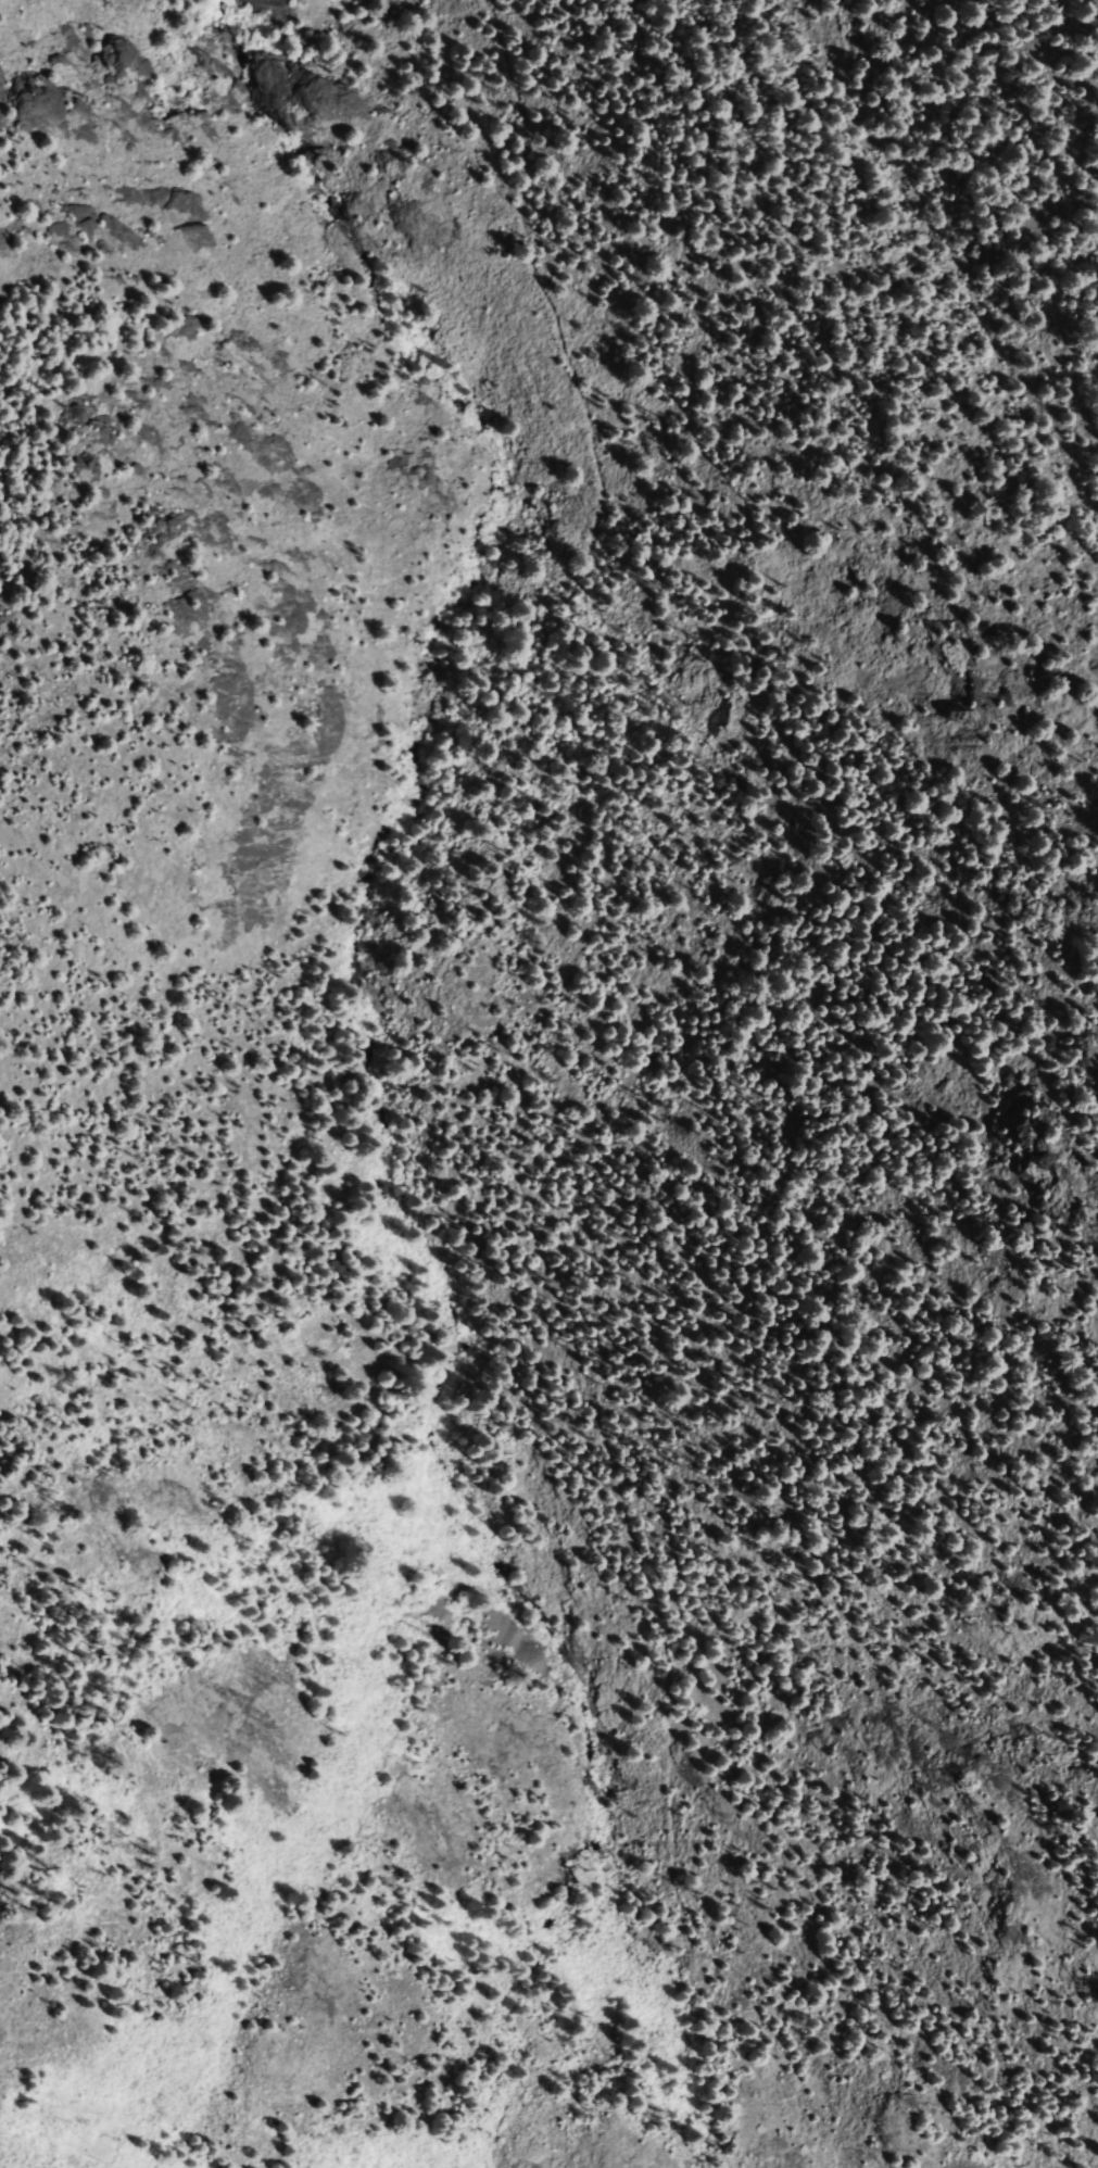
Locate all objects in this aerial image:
road: (544, 1167)

